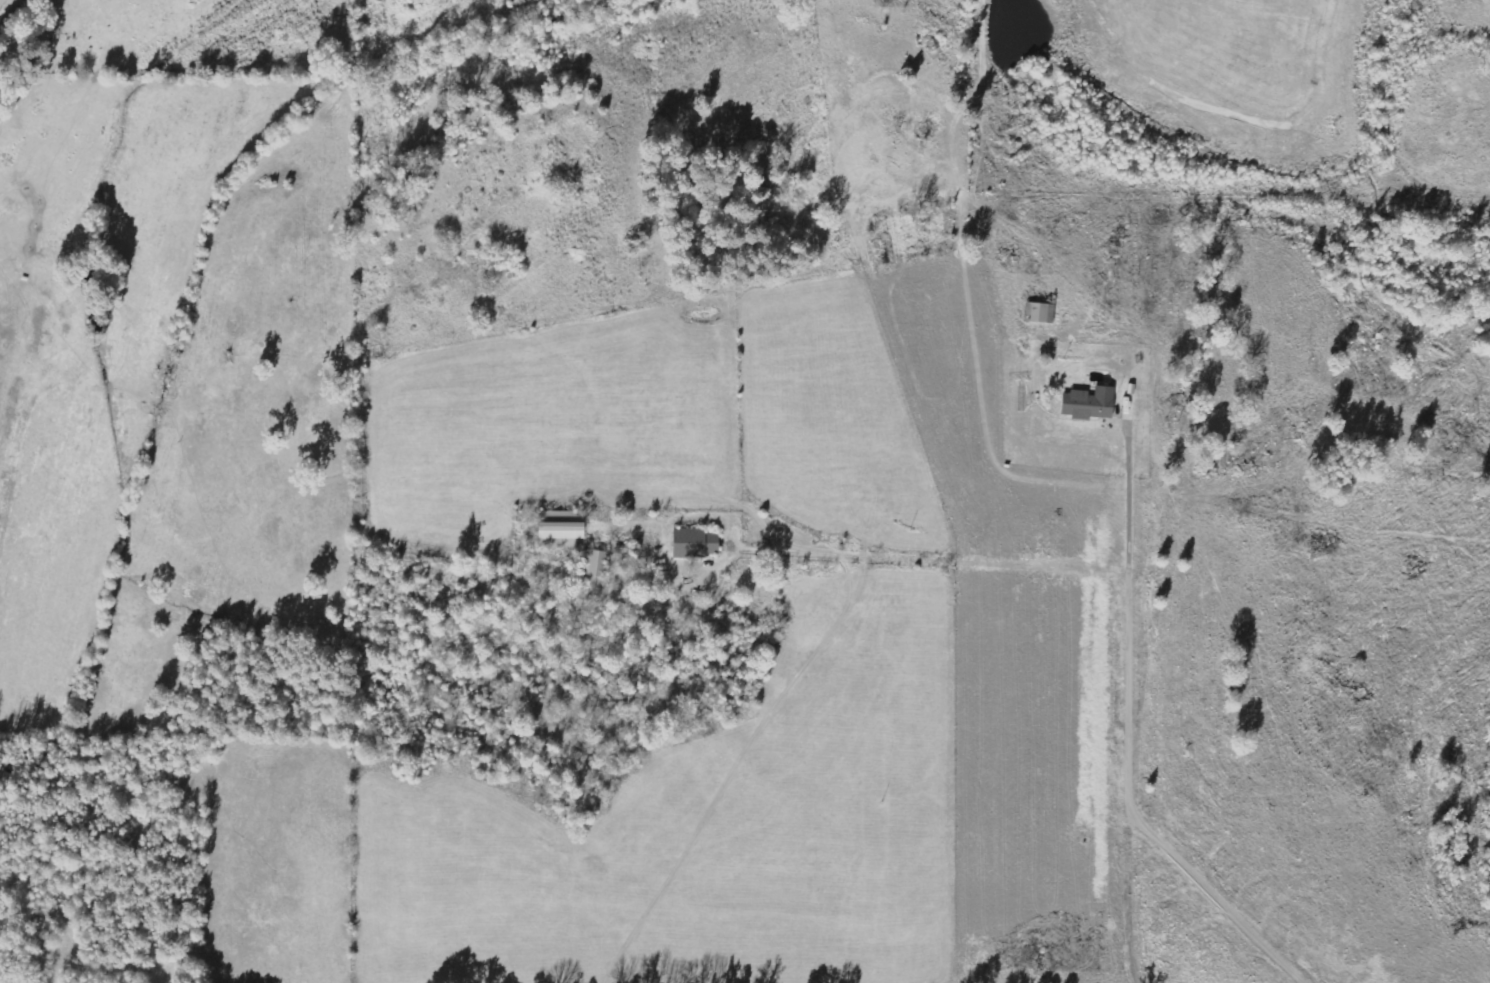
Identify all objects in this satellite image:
road: (17, 23)
building: (1038, 314)
building: (1086, 404)
road: (1314, 438)
building: (558, 533)
building: (692, 543)
building: (591, 563)
road: (1204, 975)
road: (1369, 978)

